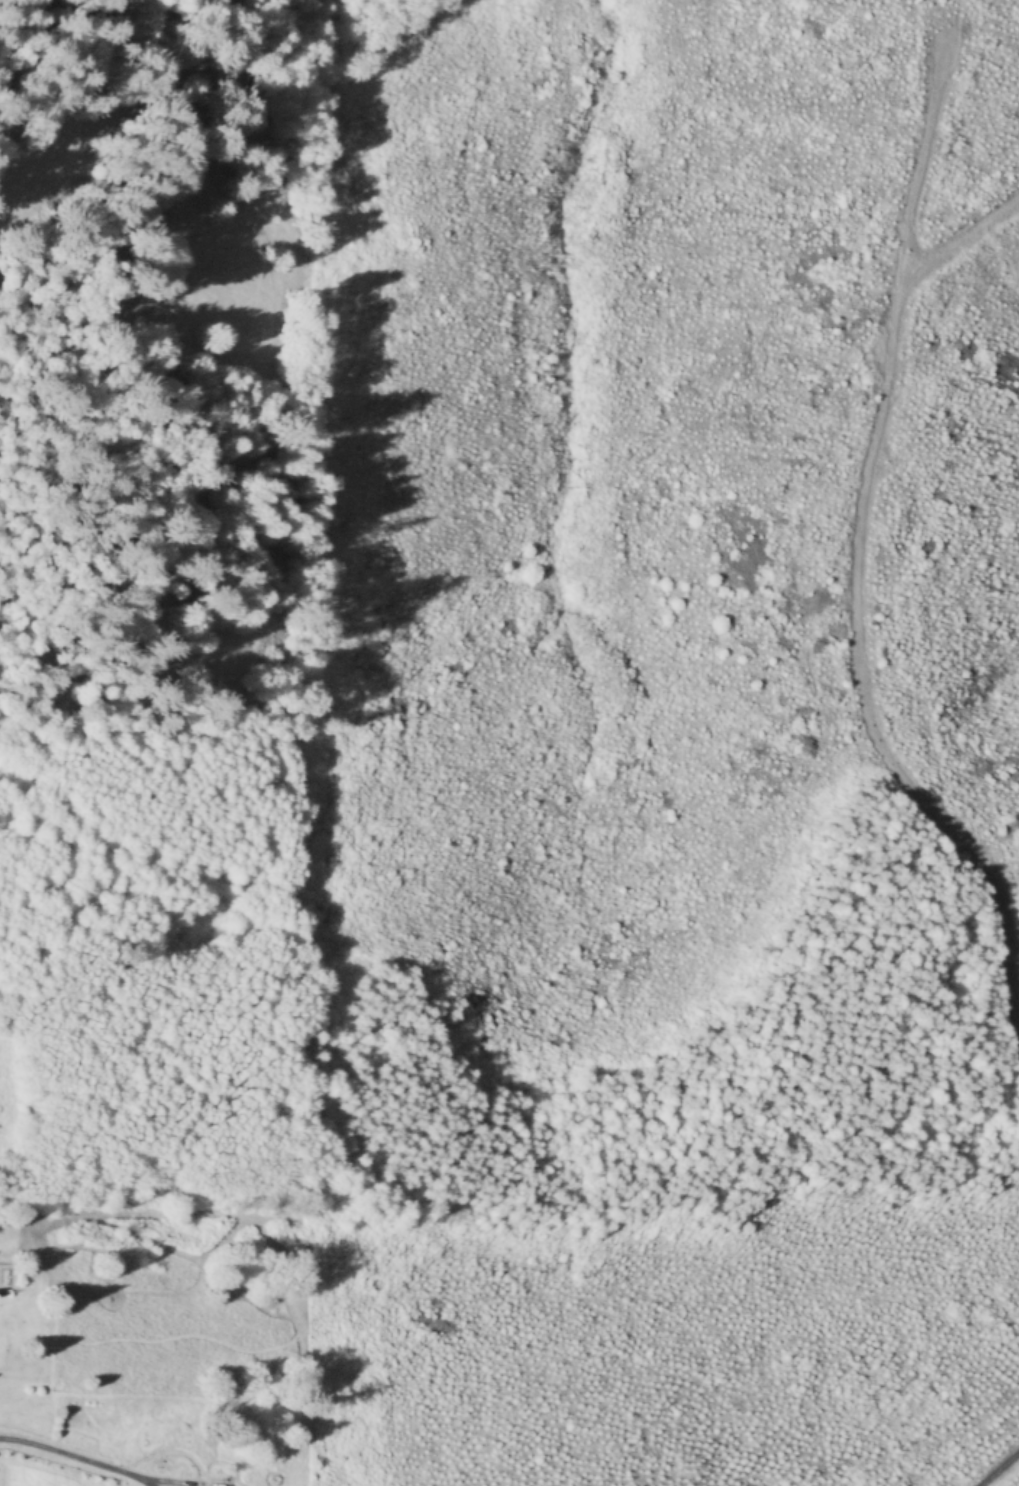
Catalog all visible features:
road: (77, 1454)

